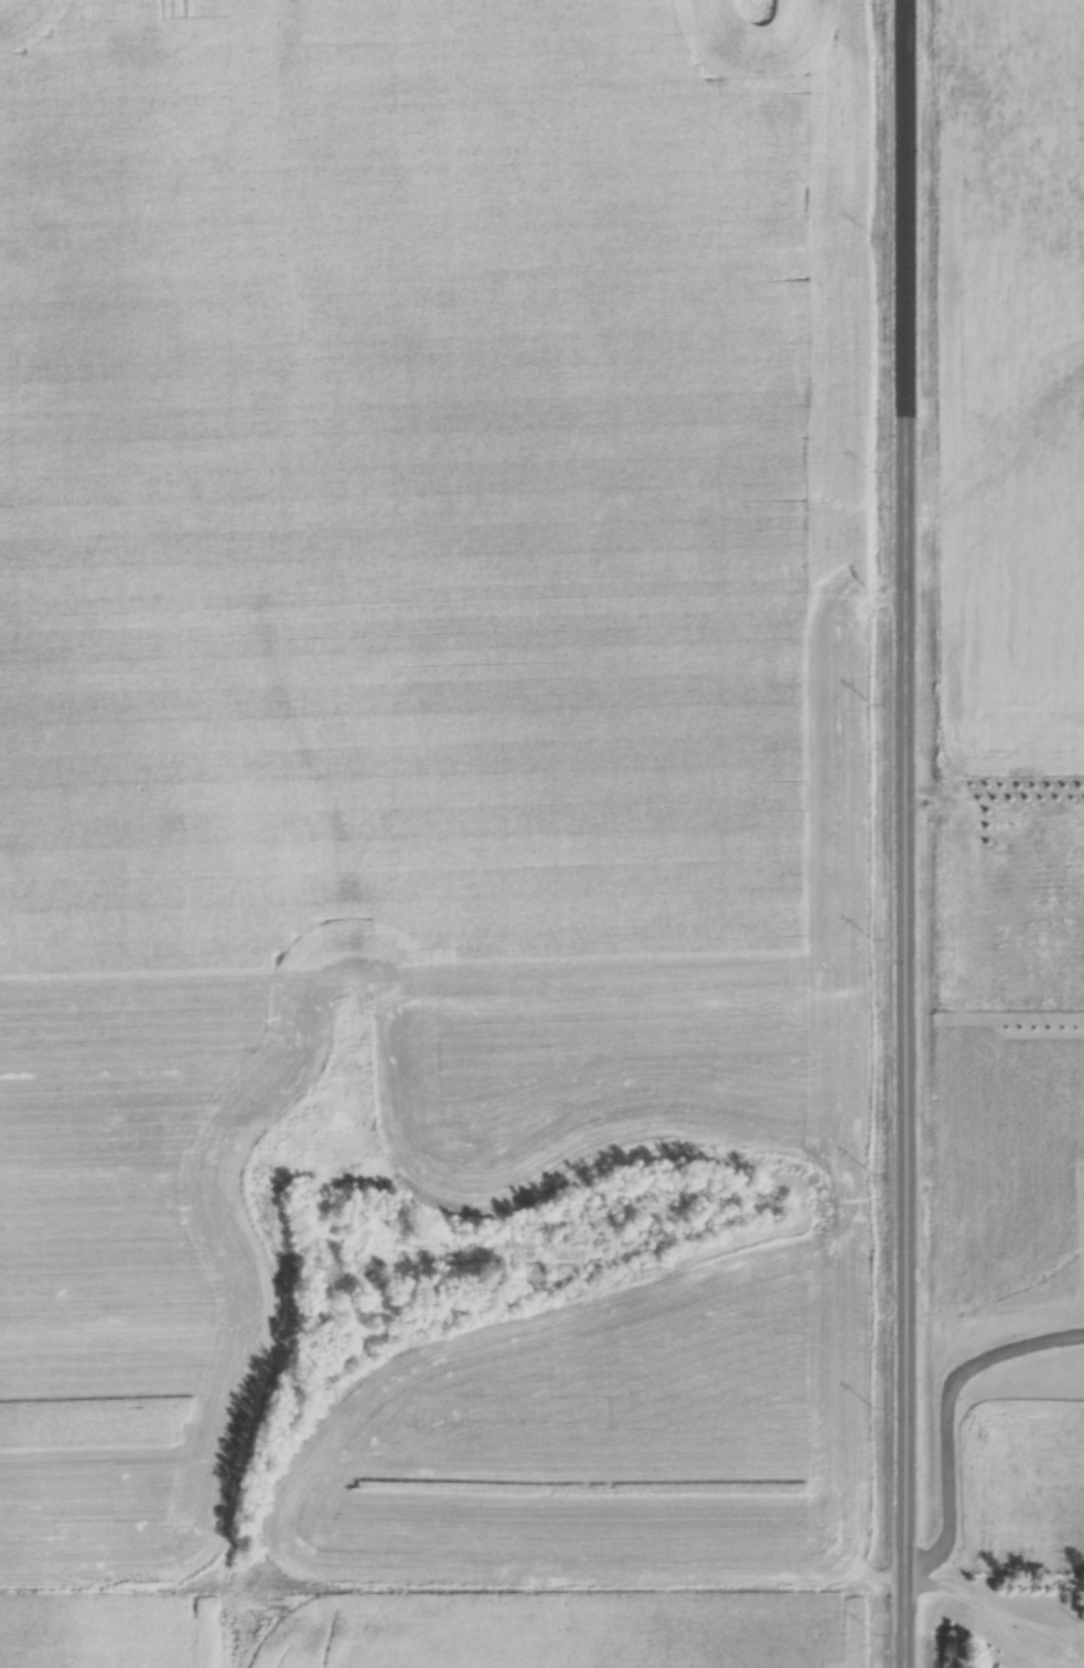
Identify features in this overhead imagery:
road: (895, 833)
road: (946, 1418)
road: (1020, 1653)

